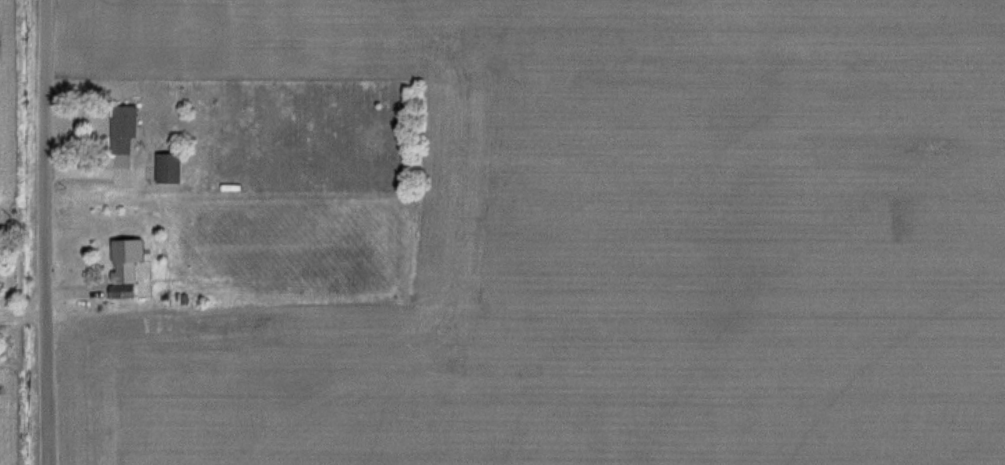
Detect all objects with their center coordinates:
building: (127, 129)
building: (173, 168)
road: (45, 232)
building: (126, 280)

